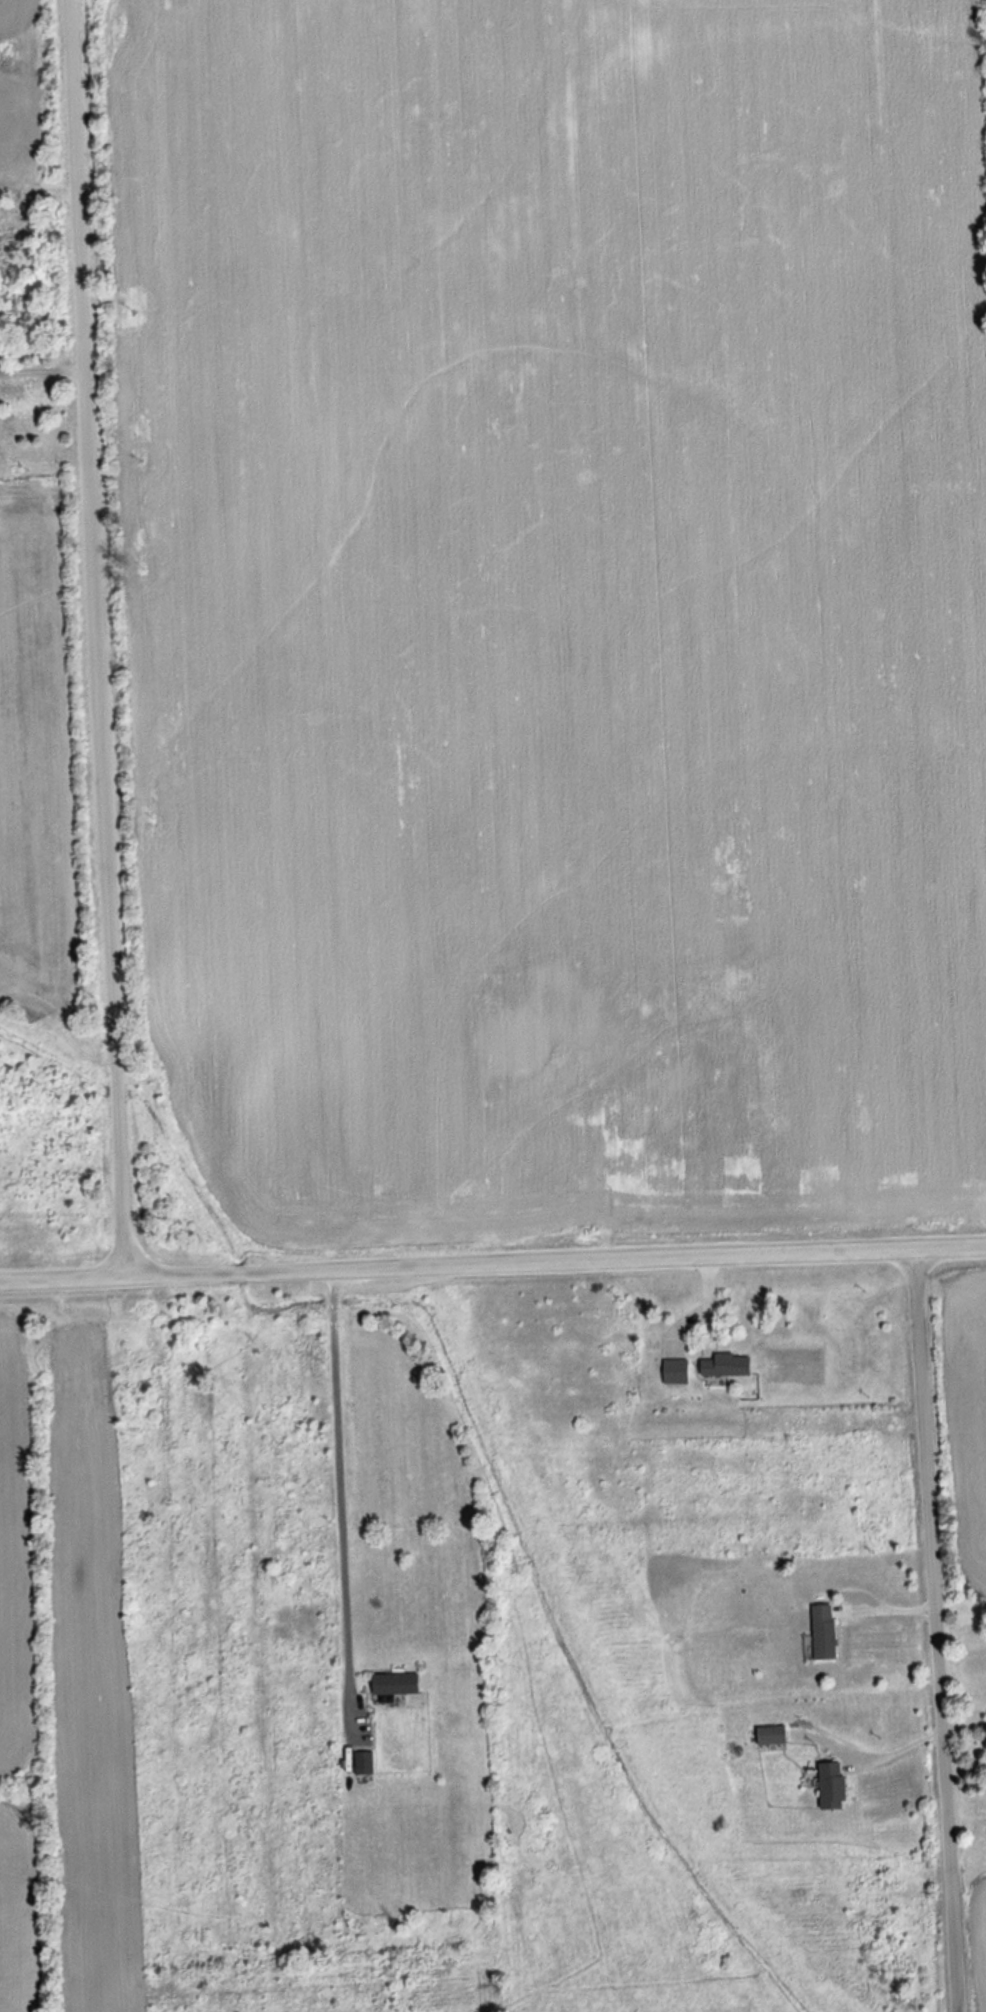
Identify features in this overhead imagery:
road: (41, 365)
road: (94, 640)
road: (492, 1265)
building: (719, 1365)
road: (341, 1491)
road: (933, 1631)
building: (818, 1633)
building: (391, 1684)
building: (766, 1736)
building: (827, 1786)

